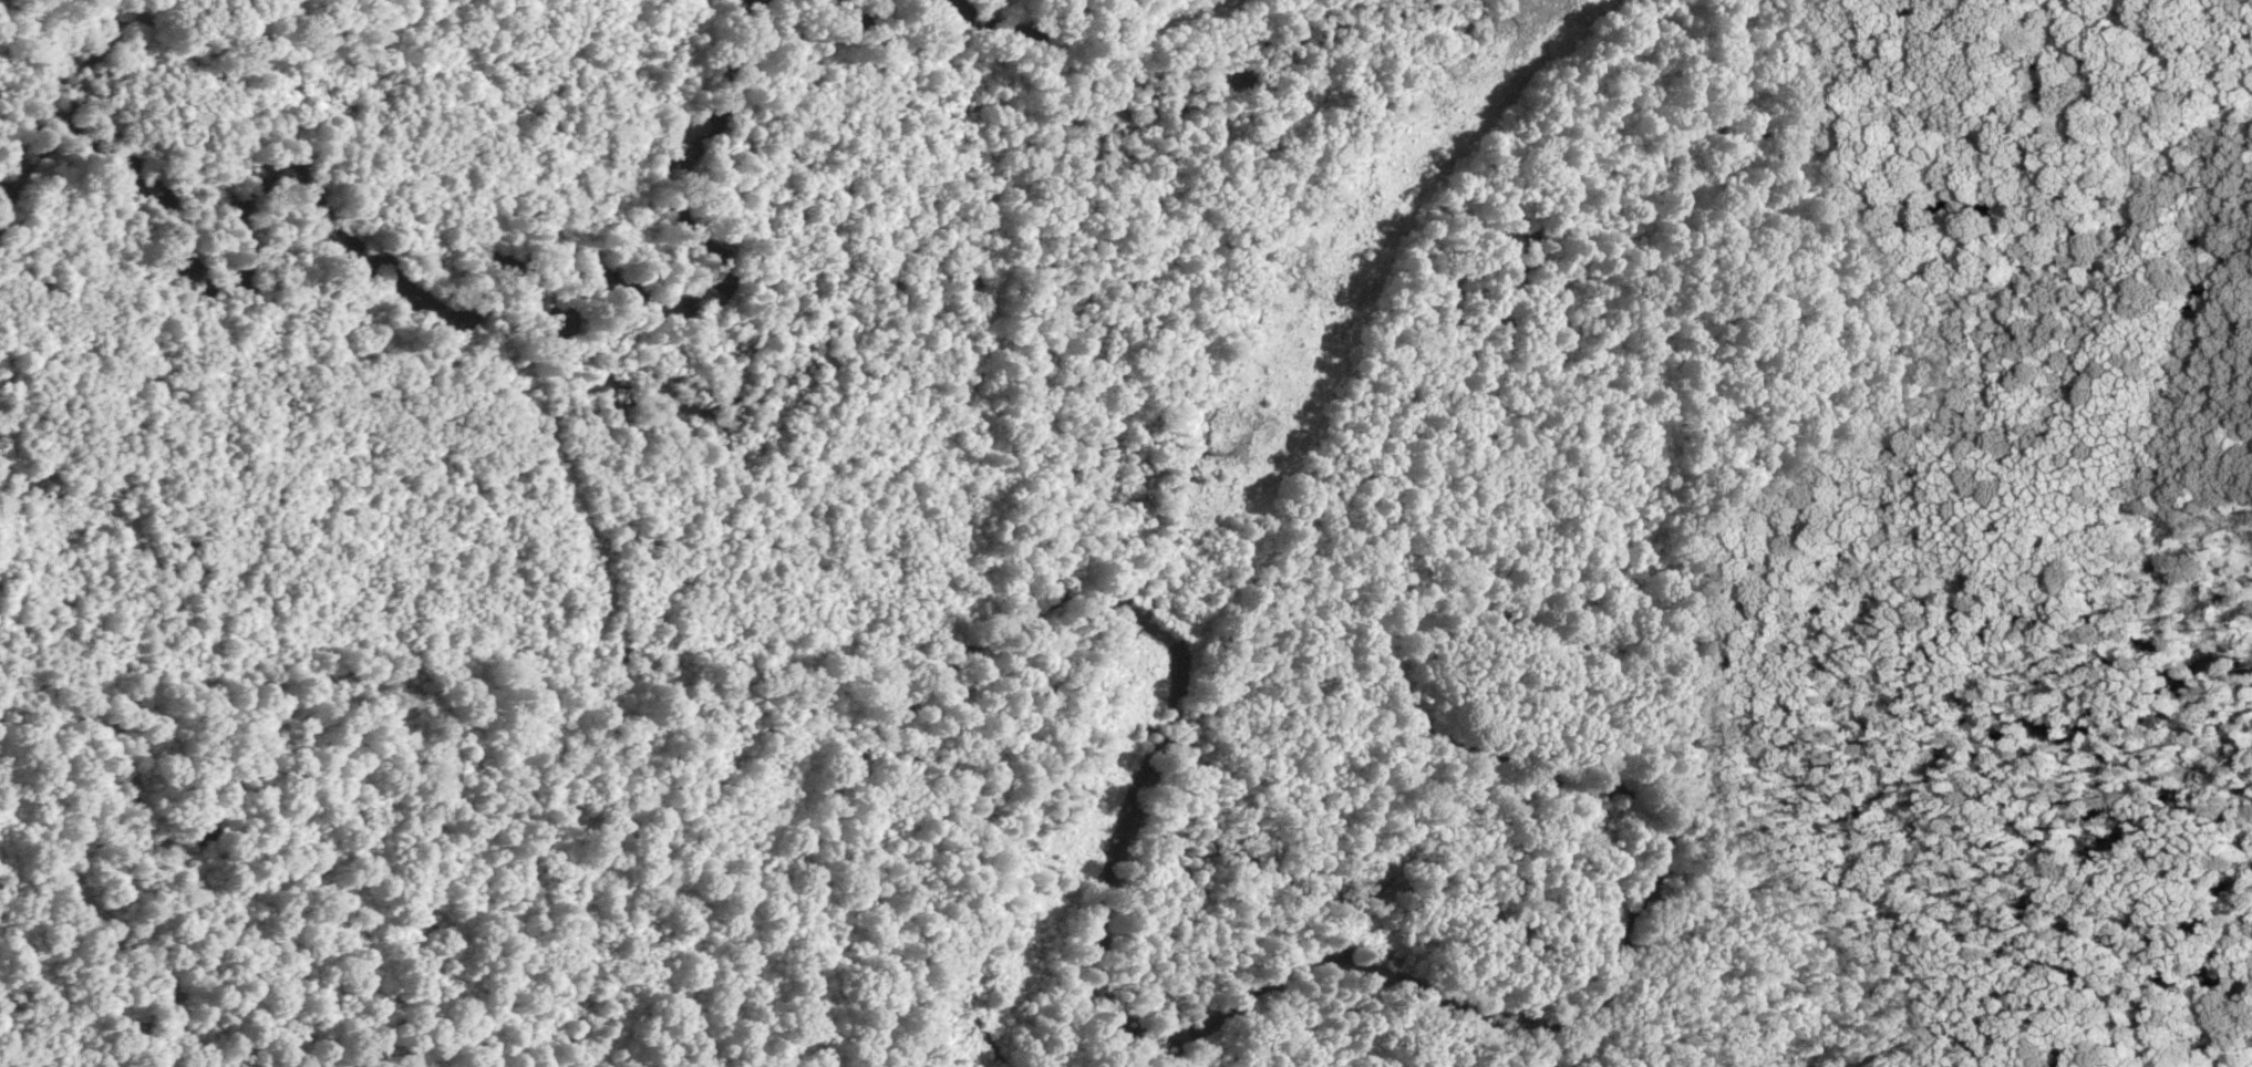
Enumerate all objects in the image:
river: (856, 14)
river: (1010, 23)
river: (473, 297)

